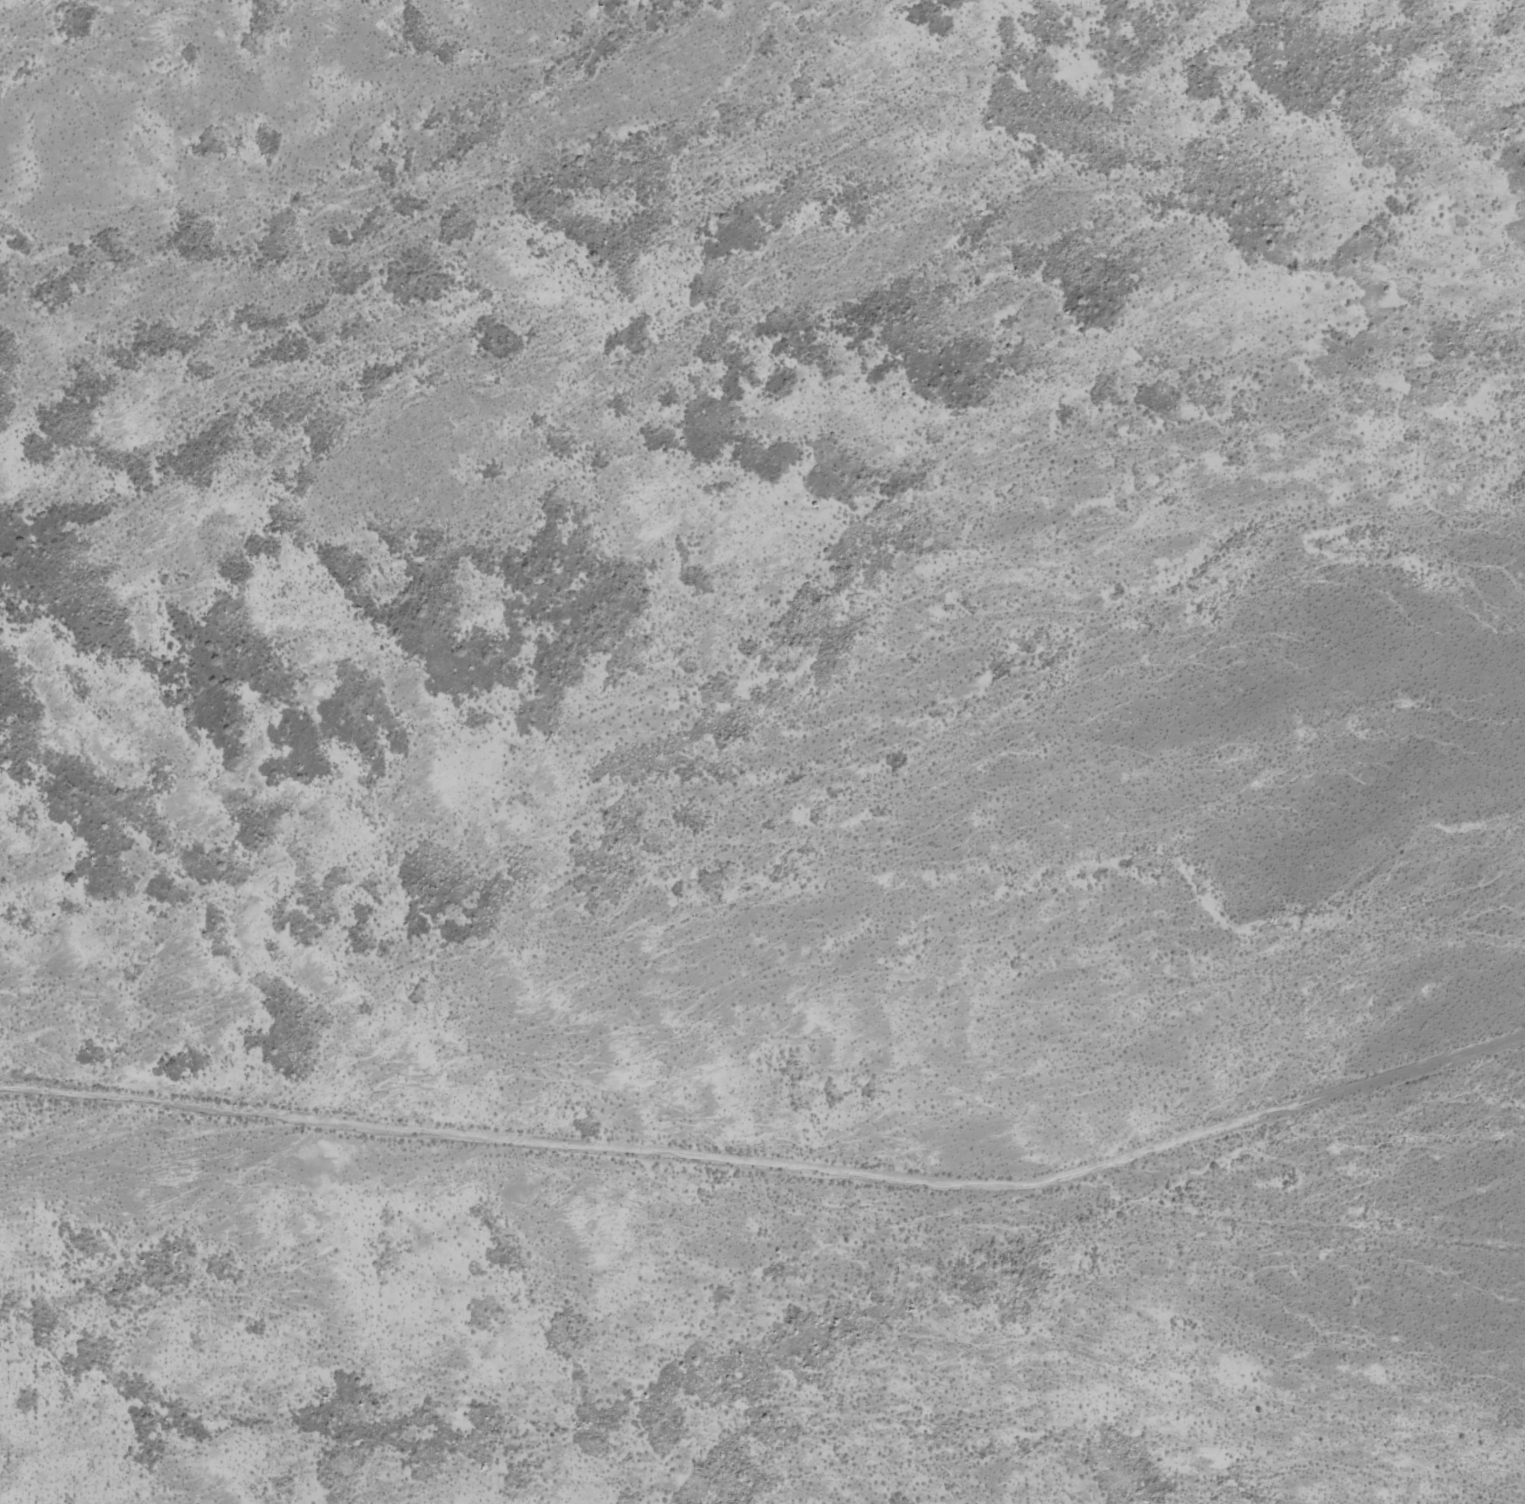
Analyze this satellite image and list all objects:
road: (770, 1167)

